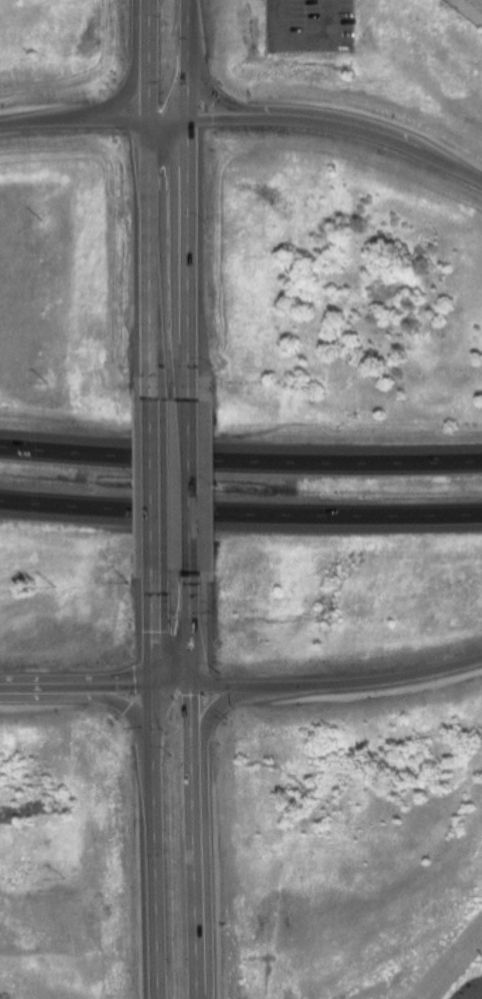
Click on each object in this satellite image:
parking lot: (309, 25)
road: (190, 26)
road: (301, 42)
power tower: (37, 60)
road: (153, 61)
road: (191, 87)
road: (213, 94)
road: (222, 120)
road: (172, 122)
road: (81, 125)
road: (4, 127)
road: (371, 134)
power tower: (41, 222)
road: (154, 261)
road: (193, 262)
power tower: (46, 384)
road: (240, 460)
road: (156, 484)
road: (195, 488)
road: (240, 513)
power tower: (54, 587)
road: (158, 627)
road: (196, 629)
road: (399, 678)
traffic signals: (158, 686)
road: (177, 686)
traffic signals: (196, 686)
road: (79, 687)
road: (255, 688)
road: (91, 699)
power tower: (57, 790)
road: (212, 827)
road: (158, 842)
road: (199, 842)
power tower: (64, 880)

